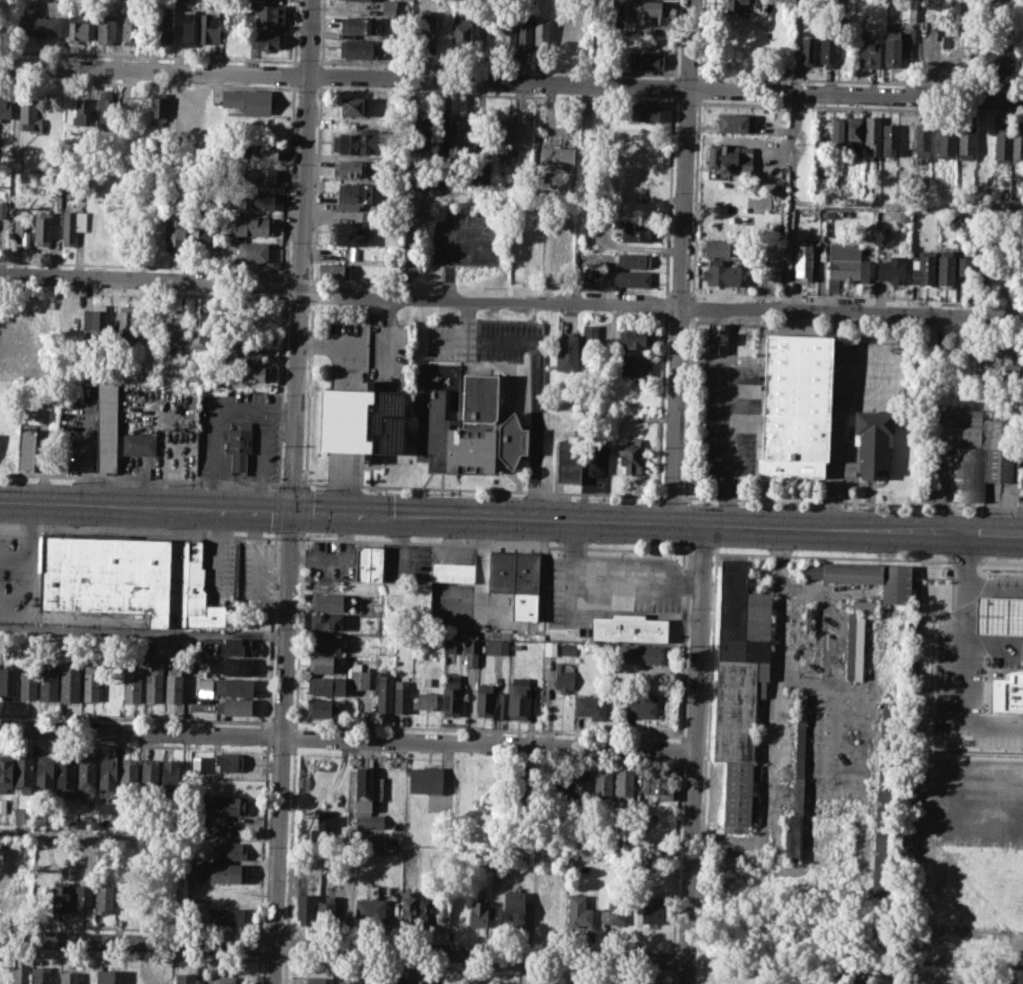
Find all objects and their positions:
building: (367, 0)
building: (742, 5)
building: (388, 6)
building: (645, 10)
building: (267, 13)
building: (907, 13)
building: (163, 22)
building: (355, 24)
building: (39, 25)
building: (79, 25)
building: (130, 26)
building: (208, 27)
building: (105, 29)
building: (190, 29)
building: (423, 29)
building: (461, 29)
road: (323, 32)
building: (525, 32)
road: (295, 33)
building: (508, 34)
building: (541, 34)
building: (559, 37)
building: (263, 43)
building: (808, 46)
road: (796, 47)
building: (892, 48)
building: (358, 49)
building: (828, 50)
building: (869, 54)
building: (997, 59)
building: (645, 60)
road: (293, 74)
road: (321, 74)
road: (511, 84)
building: (247, 101)
building: (5, 105)
building: (352, 105)
building: (82, 108)
building: (158, 108)
building: (105, 112)
building: (645, 113)
building: (29, 114)
building: (735, 122)
building: (837, 129)
building: (505, 130)
building: (854, 133)
building: (422, 134)
building: (451, 134)
building: (872, 134)
building: (890, 139)
building: (922, 140)
building: (362, 142)
building: (946, 142)
building: (966, 142)
building: (1002, 144)
building: (1017, 144)
building: (263, 151)
building: (725, 156)
building: (558, 158)
building: (347, 169)
building: (481, 172)
building: (257, 176)
road: (289, 179)
road: (317, 183)
building: (352, 196)
building: (256, 200)
road: (801, 203)
building: (2, 209)
building: (369, 216)
building: (903, 217)
building: (953, 222)
building: (252, 225)
building: (72, 226)
building: (43, 229)
building: (638, 231)
building: (20, 232)
building: (175, 234)
building: (200, 234)
building: (346, 234)
road: (449, 237)
parking lot: (465, 237)
building: (721, 247)
building: (558, 250)
building: (253, 251)
road: (681, 259)
building: (634, 260)
building: (804, 261)
building: (843, 263)
building: (946, 267)
building: (923, 268)
building: (964, 268)
building: (891, 269)
building: (333, 271)
building: (589, 273)
building: (721, 274)
building: (624, 279)
road: (150, 280)
road: (285, 283)
road: (313, 292)
road: (661, 305)
building: (125, 317)
building: (95, 319)
road: (466, 320)
building: (67, 321)
building: (173, 330)
building: (199, 330)
building: (590, 334)
building: (634, 338)
building: (718, 338)
parking lot: (482, 339)
building: (250, 352)
building: (568, 352)
building: (1011, 357)
building: (634, 366)
building: (253, 373)
road: (537, 378)
road: (281, 387)
building: (629, 395)
building: (789, 406)
road: (241, 408)
road: (279, 412)
parking lot: (725, 420)
building: (362, 421)
building: (107, 428)
building: (467, 430)
building: (873, 442)
building: (138, 444)
road: (836, 444)
building: (239, 447)
road: (723, 447)
building: (26, 449)
building: (977, 450)
building: (630, 455)
building: (569, 459)
building: (596, 459)
flagpole: (365, 463)
road: (140, 478)
road: (306, 481)
road: (292, 482)
road: (280, 483)
road: (394, 486)
road: (292, 492)
road: (671, 497)
road: (851, 502)
road: (278, 508)
road: (304, 508)
traffic signals: (292, 509)
road: (335, 510)
road: (847, 526)
road: (139, 532)
road: (288, 537)
road: (495, 544)
road: (31, 546)
road: (217, 546)
road: (701, 552)
road: (777, 553)
road: (866, 557)
building: (368, 563)
parking lot: (218, 571)
building: (627, 571)
building: (452, 572)
parking lot: (18, 577)
building: (865, 577)
building: (127, 578)
building: (515, 580)
parking lot: (255, 581)
road: (257, 585)
road: (603, 588)
road: (29, 594)
building: (328, 602)
building: (864, 605)
road: (963, 619)
building: (326, 621)
road: (272, 627)
building: (629, 627)
gas station: (629, 627)
road: (298, 628)
road: (142, 630)
building: (326, 642)
building: (459, 645)
building: (236, 646)
building: (497, 646)
building: (516, 646)
building: (854, 646)
building: (550, 648)
building: (569, 648)
building: (471, 651)
building: (639, 653)
building: (322, 664)
building: (231, 665)
building: (358, 676)
building: (564, 676)
building: (7, 681)
building: (91, 681)
building: (153, 681)
building: (28, 682)
building: (49, 682)
building: (69, 682)
building: (132, 685)
building: (173, 685)
building: (739, 685)
building: (233, 686)
building: (327, 686)
building: (205, 687)
building: (384, 692)
building: (451, 695)
building: (401, 696)
building: (522, 698)
building: (425, 700)
building: (483, 700)
building: (234, 706)
building: (590, 706)
building: (642, 706)
building: (323, 708)
road: (959, 715)
road: (136, 717)
road: (282, 722)
road: (267, 734)
road: (346, 738)
road: (770, 745)
road: (692, 752)
building: (230, 761)
building: (883, 770)
building: (6, 772)
building: (23, 773)
building: (44, 773)
building: (65, 773)
building: (107, 775)
building: (87, 776)
building: (129, 776)
building: (149, 776)
building: (170, 776)
building: (424, 780)
building: (797, 783)
building: (524, 785)
building: (581, 785)
building: (602, 785)
building: (624, 785)
building: (658, 785)
building: (366, 788)
building: (562, 795)
building: (3, 804)
building: (230, 805)
building: (753, 809)
building: (22, 815)
building: (368, 821)
building: (326, 823)
road: (88, 831)
building: (370, 838)
building: (583, 838)
building: (395, 839)
building: (881, 842)
building: (231, 850)
building: (192, 868)
building: (226, 873)
building: (5, 882)
building: (60, 897)
building: (83, 898)
building: (105, 898)
building: (514, 907)
building: (305, 908)
building: (408, 908)
building: (425, 908)
building: (370, 909)
building: (441, 910)
building: (325, 911)
building: (653, 911)
building: (578, 912)
building: (478, 913)
building: (614, 913)
building: (227, 917)
road: (223, 929)
road: (342, 947)
road: (900, 972)
building: (20, 975)
building: (41, 975)
building: (67, 975)
building: (109, 976)
building: (139, 977)
building: (852, 977)
building: (163, 978)
building: (185, 978)
building: (223, 979)
building: (315, 980)
building: (355, 980)
building: (377, 980)
building: (398, 981)
building: (420, 981)
building: (548, 983)
building: (641, 983)

